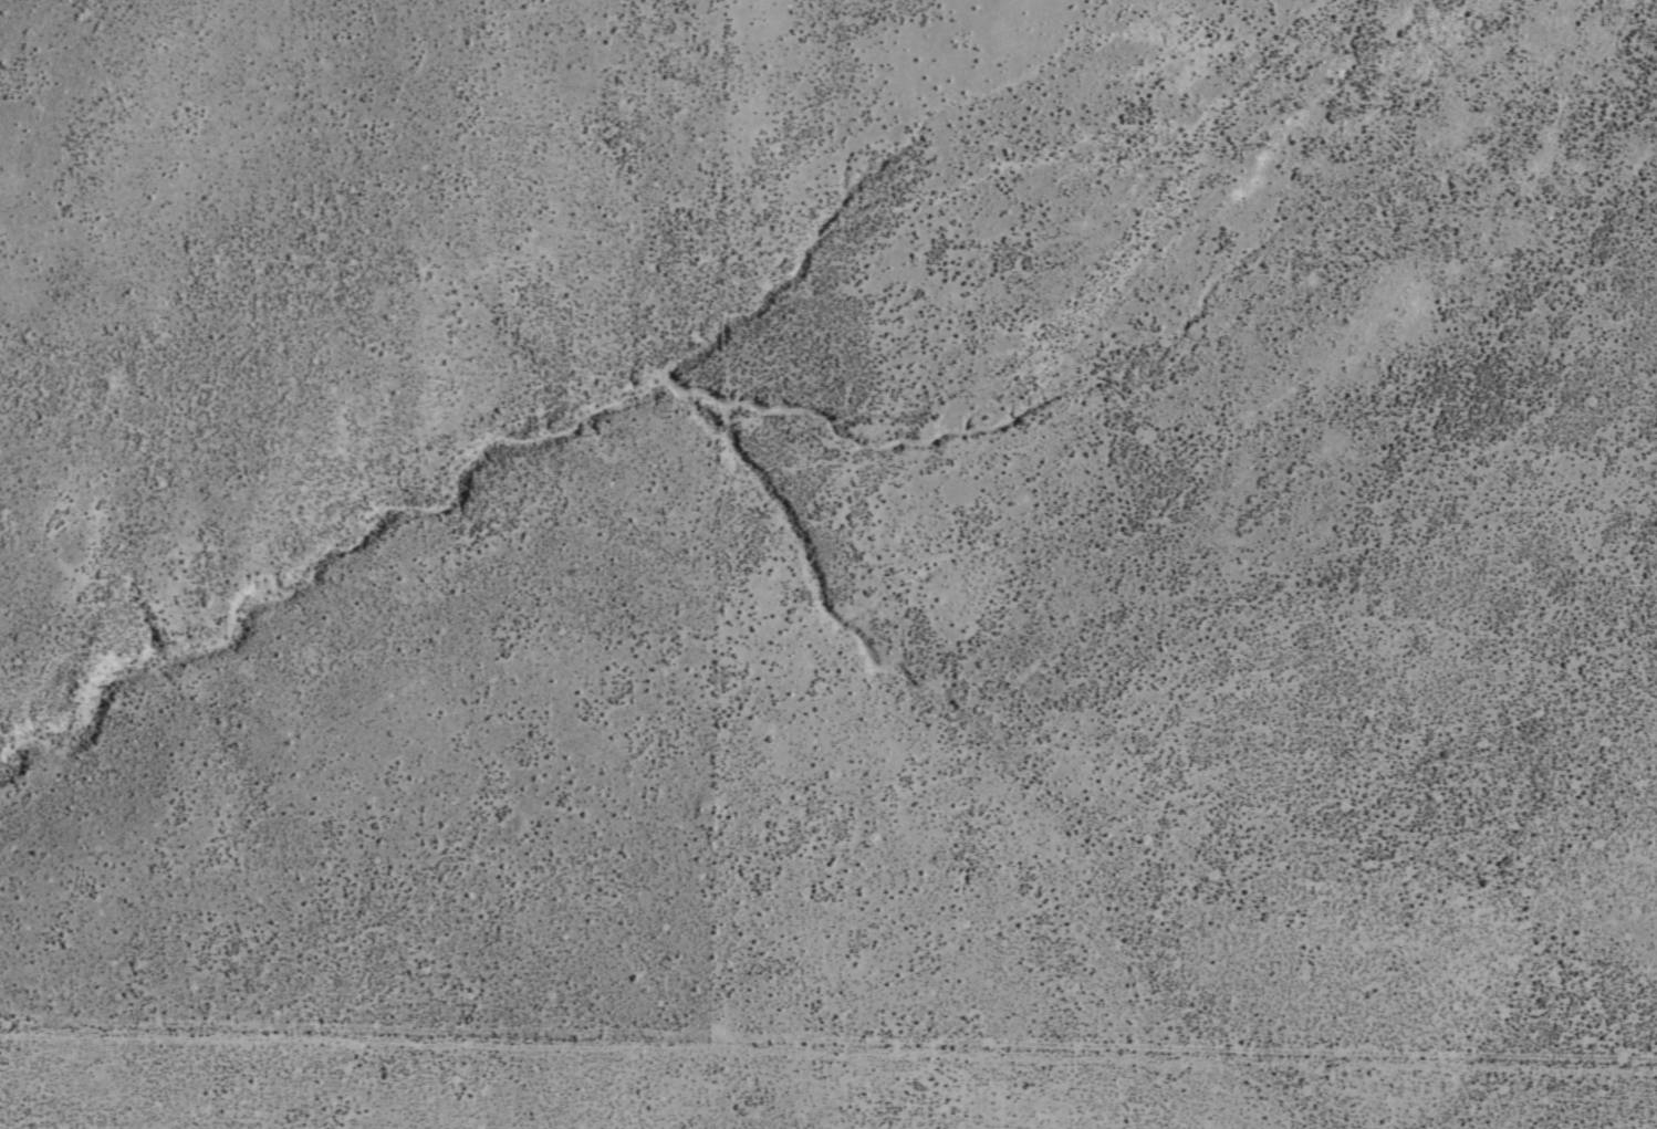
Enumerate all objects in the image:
crop: (902, 446)

